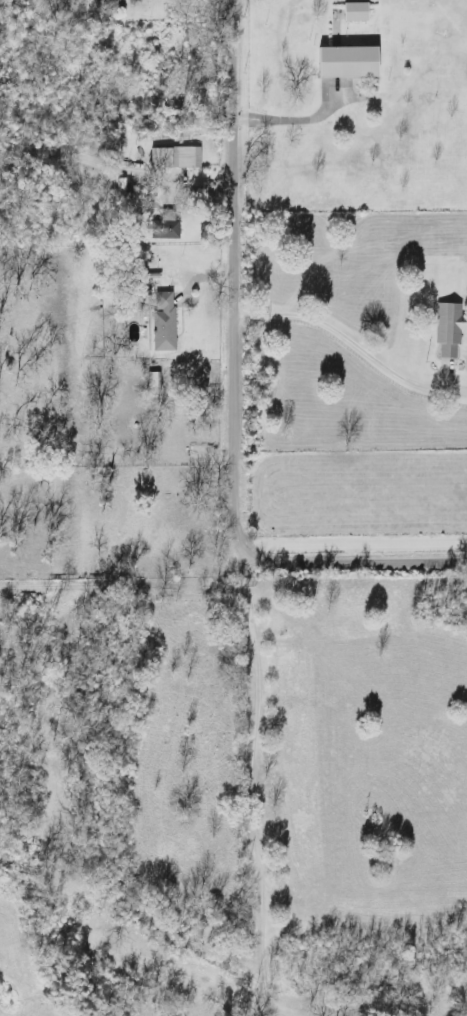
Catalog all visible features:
building: (106, 0)
building: (358, 12)
building: (351, 62)
road: (299, 119)
building: (176, 157)
road: (118, 168)
building: (174, 229)
building: (167, 324)
building: (451, 327)
road: (349, 337)
road: (237, 387)
road: (249, 784)

